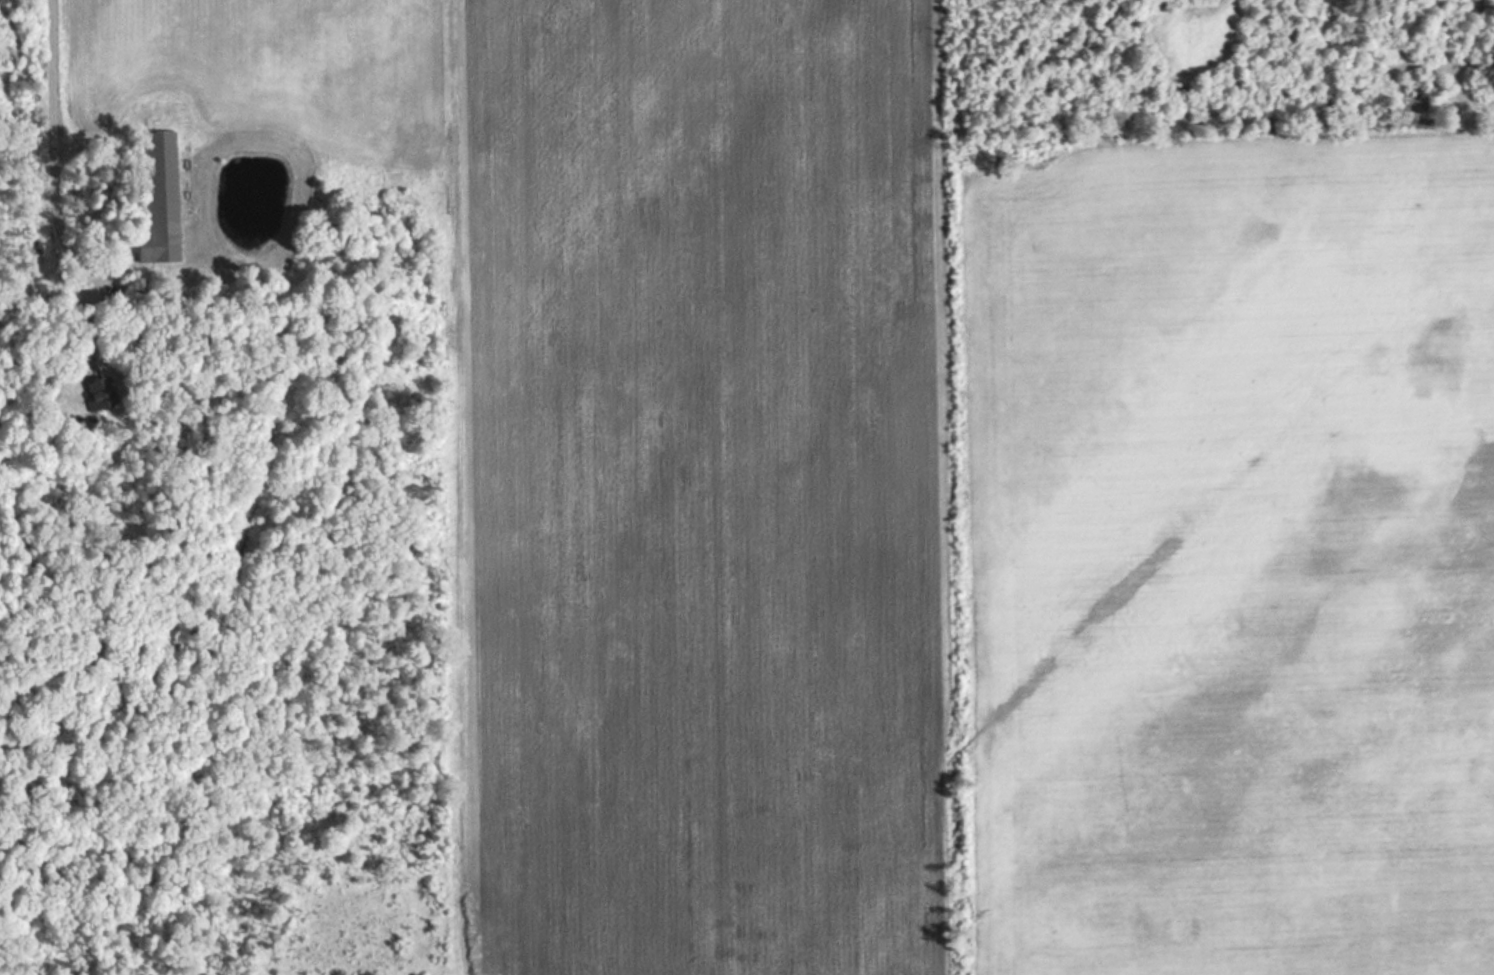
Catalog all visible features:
building: (162, 197)
building: (107, 395)

